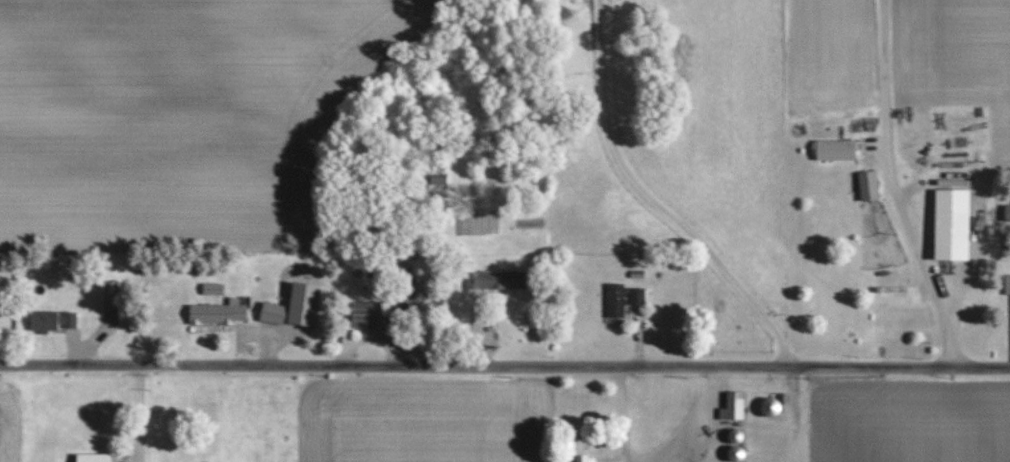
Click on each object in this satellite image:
building: (835, 150)
building: (868, 186)
road: (892, 187)
road: (648, 201)
building: (1007, 213)
building: (951, 225)
building: (494, 282)
building: (1007, 285)
building: (208, 289)
building: (637, 296)
building: (110, 297)
building: (615, 300)
building: (217, 313)
building: (272, 313)
building: (370, 315)
building: (52, 321)
road: (504, 366)
road: (135, 413)
road: (619, 414)
road: (693, 423)

